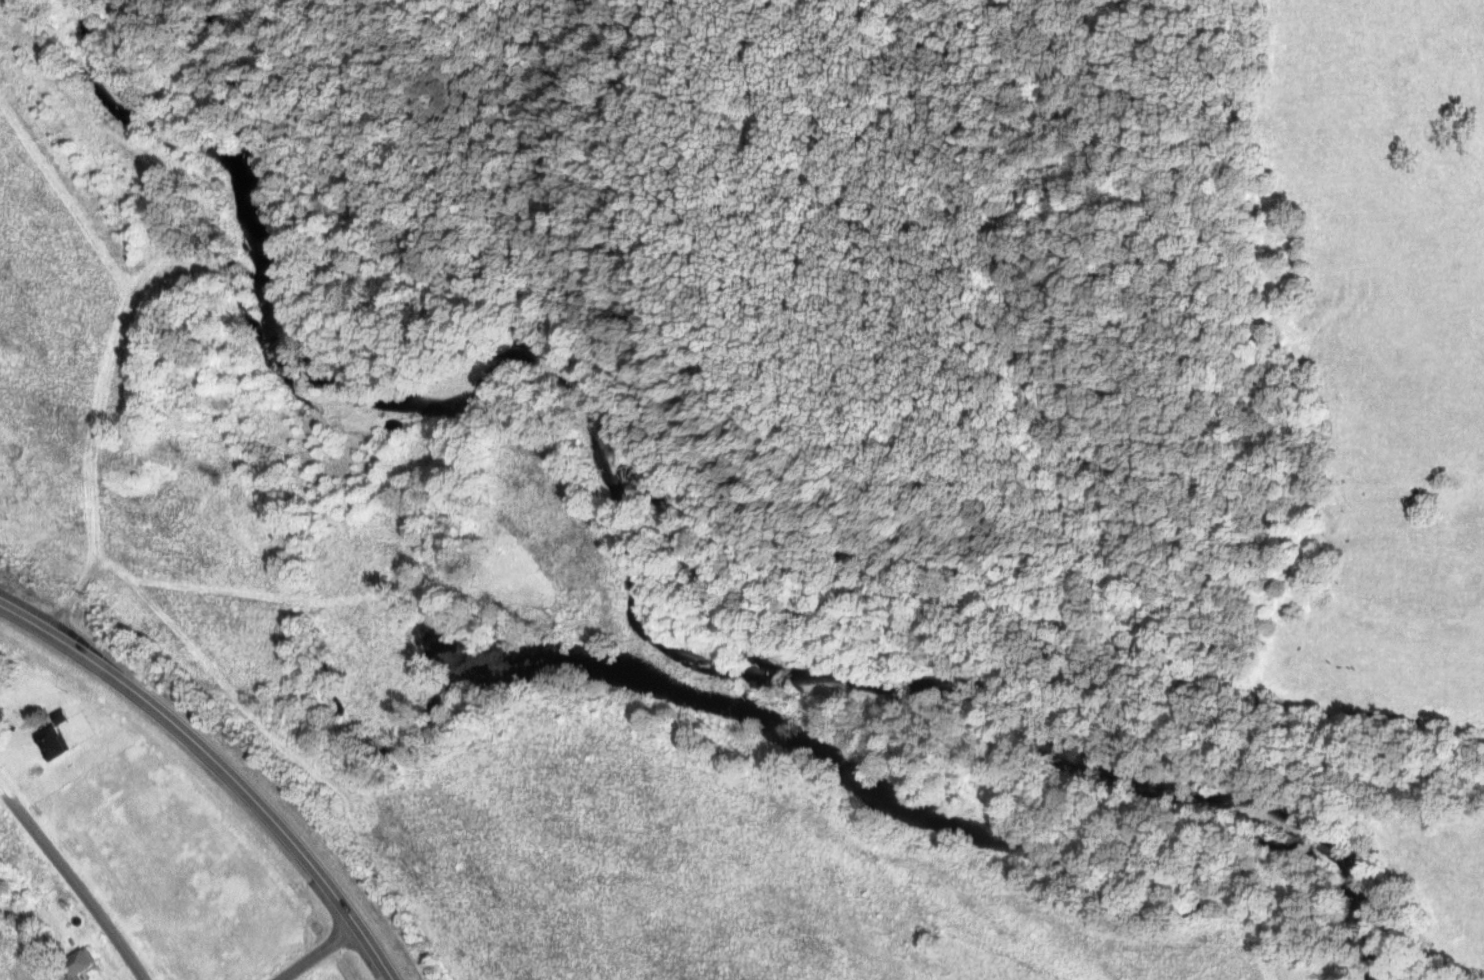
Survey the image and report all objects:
building: (55, 742)
road: (221, 766)
road: (74, 881)
road: (319, 953)
building: (78, 964)

